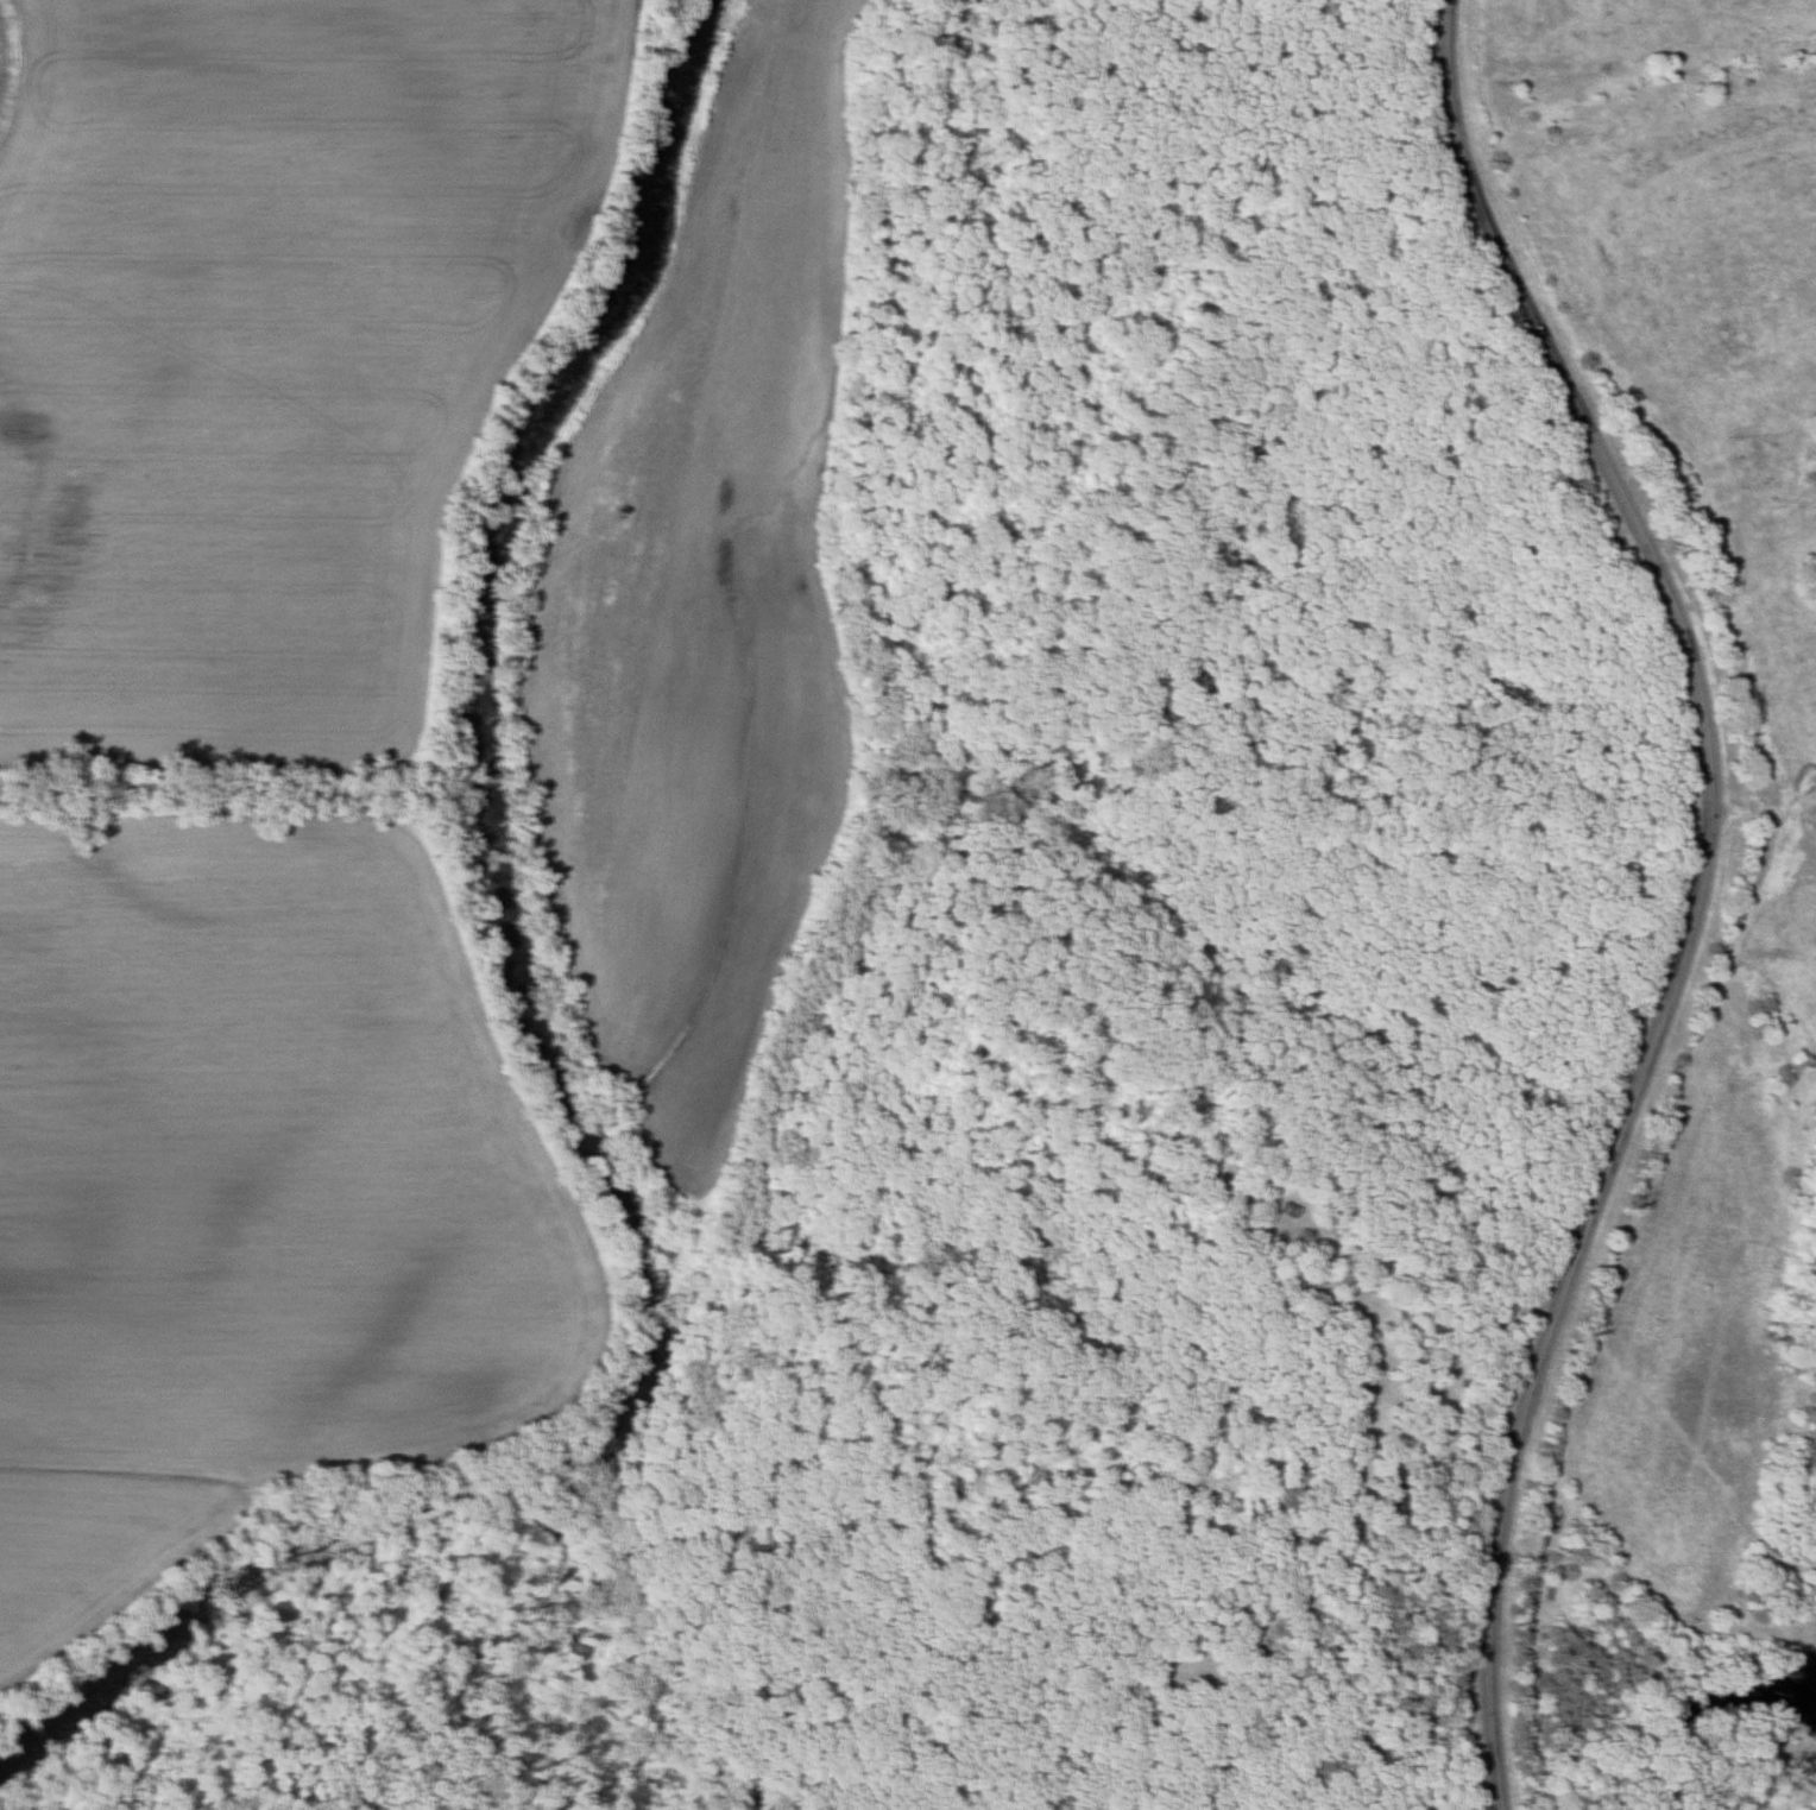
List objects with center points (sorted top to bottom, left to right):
road: (1705, 893)
building: (1285, 1211)
building: (1396, 1495)

